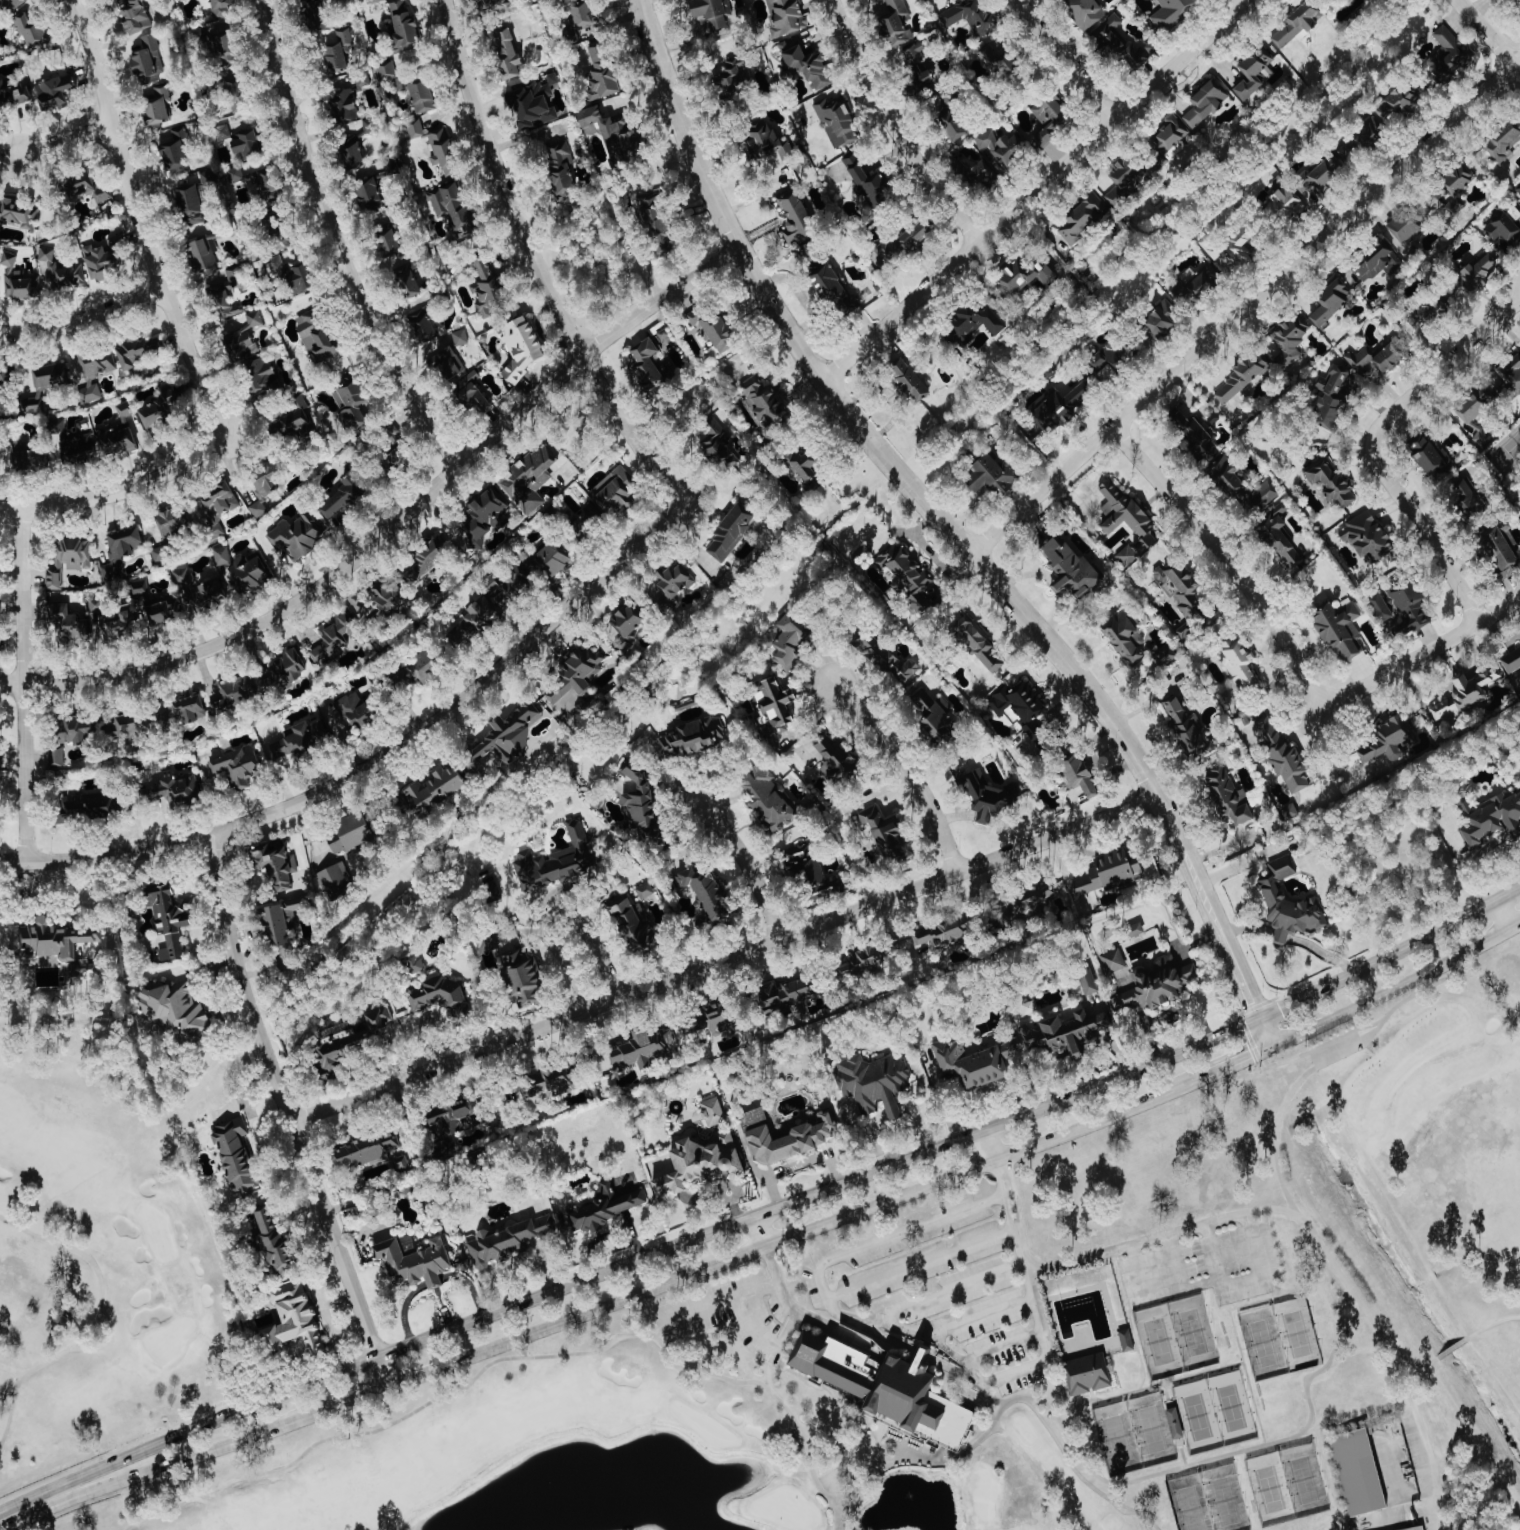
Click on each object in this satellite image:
road: (1240, 1)
building: (494, 3)
building: (1508, 3)
building: (218, 8)
building: (713, 12)
building: (1087, 12)
building: (582, 13)
building: (1173, 13)
building: (136, 16)
building: (318, 16)
building: (970, 16)
building: (786, 17)
building: (404, 23)
building: (895, 23)
building: (1297, 25)
road: (1492, 31)
building: (32, 33)
building: (1121, 43)
building: (790, 45)
building: (219, 48)
building: (340, 51)
building: (509, 53)
building: (1447, 55)
road: (1073, 56)
building: (149, 61)
building: (1002, 62)
building: (918, 69)
building: (603, 71)
building: (1256, 73)
building: (388, 77)
building: (733, 79)
building: (55, 92)
building: (236, 94)
building: (13, 96)
building: (423, 97)
building: (1208, 102)
building: (1400, 102)
building: (157, 104)
building: (534, 104)
building: (345, 106)
building: (837, 118)
building: (1049, 121)
building: (953, 123)
road: (900, 124)
building: (416, 129)
building: (224, 132)
building: (613, 133)
building: (1172, 137)
building: (1370, 137)
building: (1505, 140)
road: (64, 142)
building: (247, 143)
building: (771, 150)
building: (176, 152)
building: (443, 152)
building: (354, 153)
building: (996, 157)
building: (562, 170)
building: (236, 175)
building: (207, 178)
building: (1459, 179)
building: (869, 180)
building: (1126, 182)
building: (1518, 187)
road: (1033, 189)
building: (89, 192)
building: (371, 196)
building: (1285, 197)
building: (190, 203)
building: (454, 209)
building: (18, 214)
building: (796, 217)
road: (139, 223)
building: (1079, 223)
building: (658, 225)
building: (1406, 226)
building: (1502, 226)
building: (392, 241)
road: (334, 245)
building: (1232, 246)
building: (206, 256)
building: (104, 259)
building: (1375, 261)
road: (536, 265)
building: (60, 272)
building: (1479, 272)
building: (297, 276)
building: (1023, 277)
building: (18, 280)
building: (1195, 282)
building: (409, 284)
building: (488, 287)
building: (834, 288)
building: (228, 292)
building: (1332, 302)
road: (1246, 309)
building: (1163, 318)
road: (82, 320)
building: (975, 321)
building: (425, 325)
building: (715, 329)
building: (245, 337)
building: (461, 337)
building: (321, 339)
building: (1292, 341)
building: (522, 346)
building: (133, 351)
building: (1113, 357)
building: (1376, 360)
building: (450, 363)
building: (648, 363)
building: (5, 372)
building: (261, 373)
building: (95, 374)
building: (51, 375)
building: (1241, 378)
building: (909, 379)
building: (1509, 379)
building: (472, 393)
building: (1080, 393)
building: (1333, 396)
building: (765, 400)
building: (352, 402)
building: (33, 404)
building: (126, 410)
building: (157, 412)
building: (1054, 412)
building: (1215, 417)
building: (1474, 417)
building: (297, 421)
building: (393, 435)
building: (120, 442)
building: (73, 443)
road: (1370, 444)
building: (718, 445)
building: (1213, 453)
building: (1431, 457)
building: (31, 459)
building: (397, 459)
building: (804, 464)
building: (993, 476)
building: (269, 477)
building: (529, 479)
building: (1330, 480)
road: (118, 491)
building: (616, 491)
building: (1262, 495)
building: (1471, 497)
building: (344, 498)
building: (218, 506)
building: (258, 509)
building: (483, 518)
building: (587, 519)
building: (173, 520)
building: (1128, 522)
road: (396, 523)
road: (948, 526)
building: (731, 533)
building: (296, 535)
building: (1368, 535)
building: (1282, 537)
building: (1501, 548)
building: (121, 551)
building: (161, 553)
building: (223, 555)
building: (430, 557)
road: (1226, 559)
building: (68, 560)
building: (551, 560)
building: (1072, 568)
building: (1511, 570)
building: (250, 574)
building: (183, 576)
building: (913, 578)
building: (676, 580)
building: (140, 587)
building: (507, 587)
building: (1183, 590)
building: (208, 594)
building: (390, 598)
building: (1383, 606)
building: (1408, 609)
building: (165, 612)
building: (628, 620)
building: (67, 621)
building: (114, 621)
building: (474, 621)
building: (1341, 630)
building: (775, 635)
building: (1127, 635)
building: (335, 637)
building: (791, 640)
building: (0, 642)
building: (978, 643)
road: (1423, 654)
building: (1165, 658)
building: (890, 659)
building: (1512, 661)
building: (1240, 662)
building: (424, 667)
building: (282, 670)
building: (577, 675)
road: (23, 686)
building: (235, 694)
building: (1465, 695)
building: (190, 709)
building: (779, 709)
building: (353, 712)
building: (934, 715)
building: (1023, 717)
building: (126, 726)
building: (1187, 726)
building: (76, 729)
building: (507, 735)
building: (693, 738)
building: (299, 740)
building: (1387, 747)
building: (1285, 755)
building: (57, 756)
road: (380, 761)
building: (839, 762)
building: (238, 766)
road: (907, 771)
building: (1081, 775)
building: (436, 789)
building: (1230, 796)
building: (769, 800)
building: (988, 800)
building: (643, 804)
building: (89, 806)
building: (1291, 811)
building: (1492, 818)
building: (886, 829)
building: (350, 834)
road: (1474, 858)
building: (557, 860)
building: (278, 864)
road: (745, 865)
building: (1110, 873)
building: (814, 875)
building: (336, 881)
building: (707, 892)
building: (647, 893)
building: (1040, 898)
building: (1289, 903)
road: (1504, 914)
building: (170, 922)
building: (284, 924)
building: (634, 926)
building: (1138, 929)
building: (943, 934)
building: (53, 940)
road: (1518, 948)
road: (600, 951)
road: (560, 953)
road: (725, 959)
building: (1113, 960)
building: (865, 962)
building: (413, 964)
building: (525, 978)
building: (1091, 984)
building: (1160, 984)
road: (1397, 986)
building: (791, 994)
building: (441, 996)
building: (176, 1011)
traffic signals: (1260, 1018)
building: (715, 1022)
building: (384, 1026)
building: (1071, 1032)
road: (1339, 1036)
traffic signals: (1273, 1046)
building: (644, 1049)
road: (1237, 1061)
building: (974, 1063)
building: (553, 1083)
building: (874, 1083)
building: (713, 1111)
road: (287, 1113)
building: (456, 1117)
building: (786, 1137)
road: (958, 1142)
road: (995, 1145)
building: (367, 1151)
building: (237, 1155)
building: (702, 1164)
building: (607, 1207)
road: (797, 1234)
building: (274, 1241)
building: (509, 1242)
road: (1322, 1244)
building: (408, 1246)
building: (417, 1262)
road: (923, 1262)
road: (772, 1267)
road: (823, 1268)
road: (1159, 1290)
road: (948, 1292)
road: (983, 1317)
road: (1044, 1320)
building: (294, 1321)
road: (891, 1340)
building: (1127, 1340)
road: (1458, 1342)
road: (1005, 1346)
road: (924, 1356)
building: (1089, 1374)
building: (887, 1388)
road: (352, 1399)
road: (214, 1419)
building: (1176, 1424)
road: (186, 1459)
building: (1360, 1473)
road: (27, 1506)
building: (1419, 1528)

